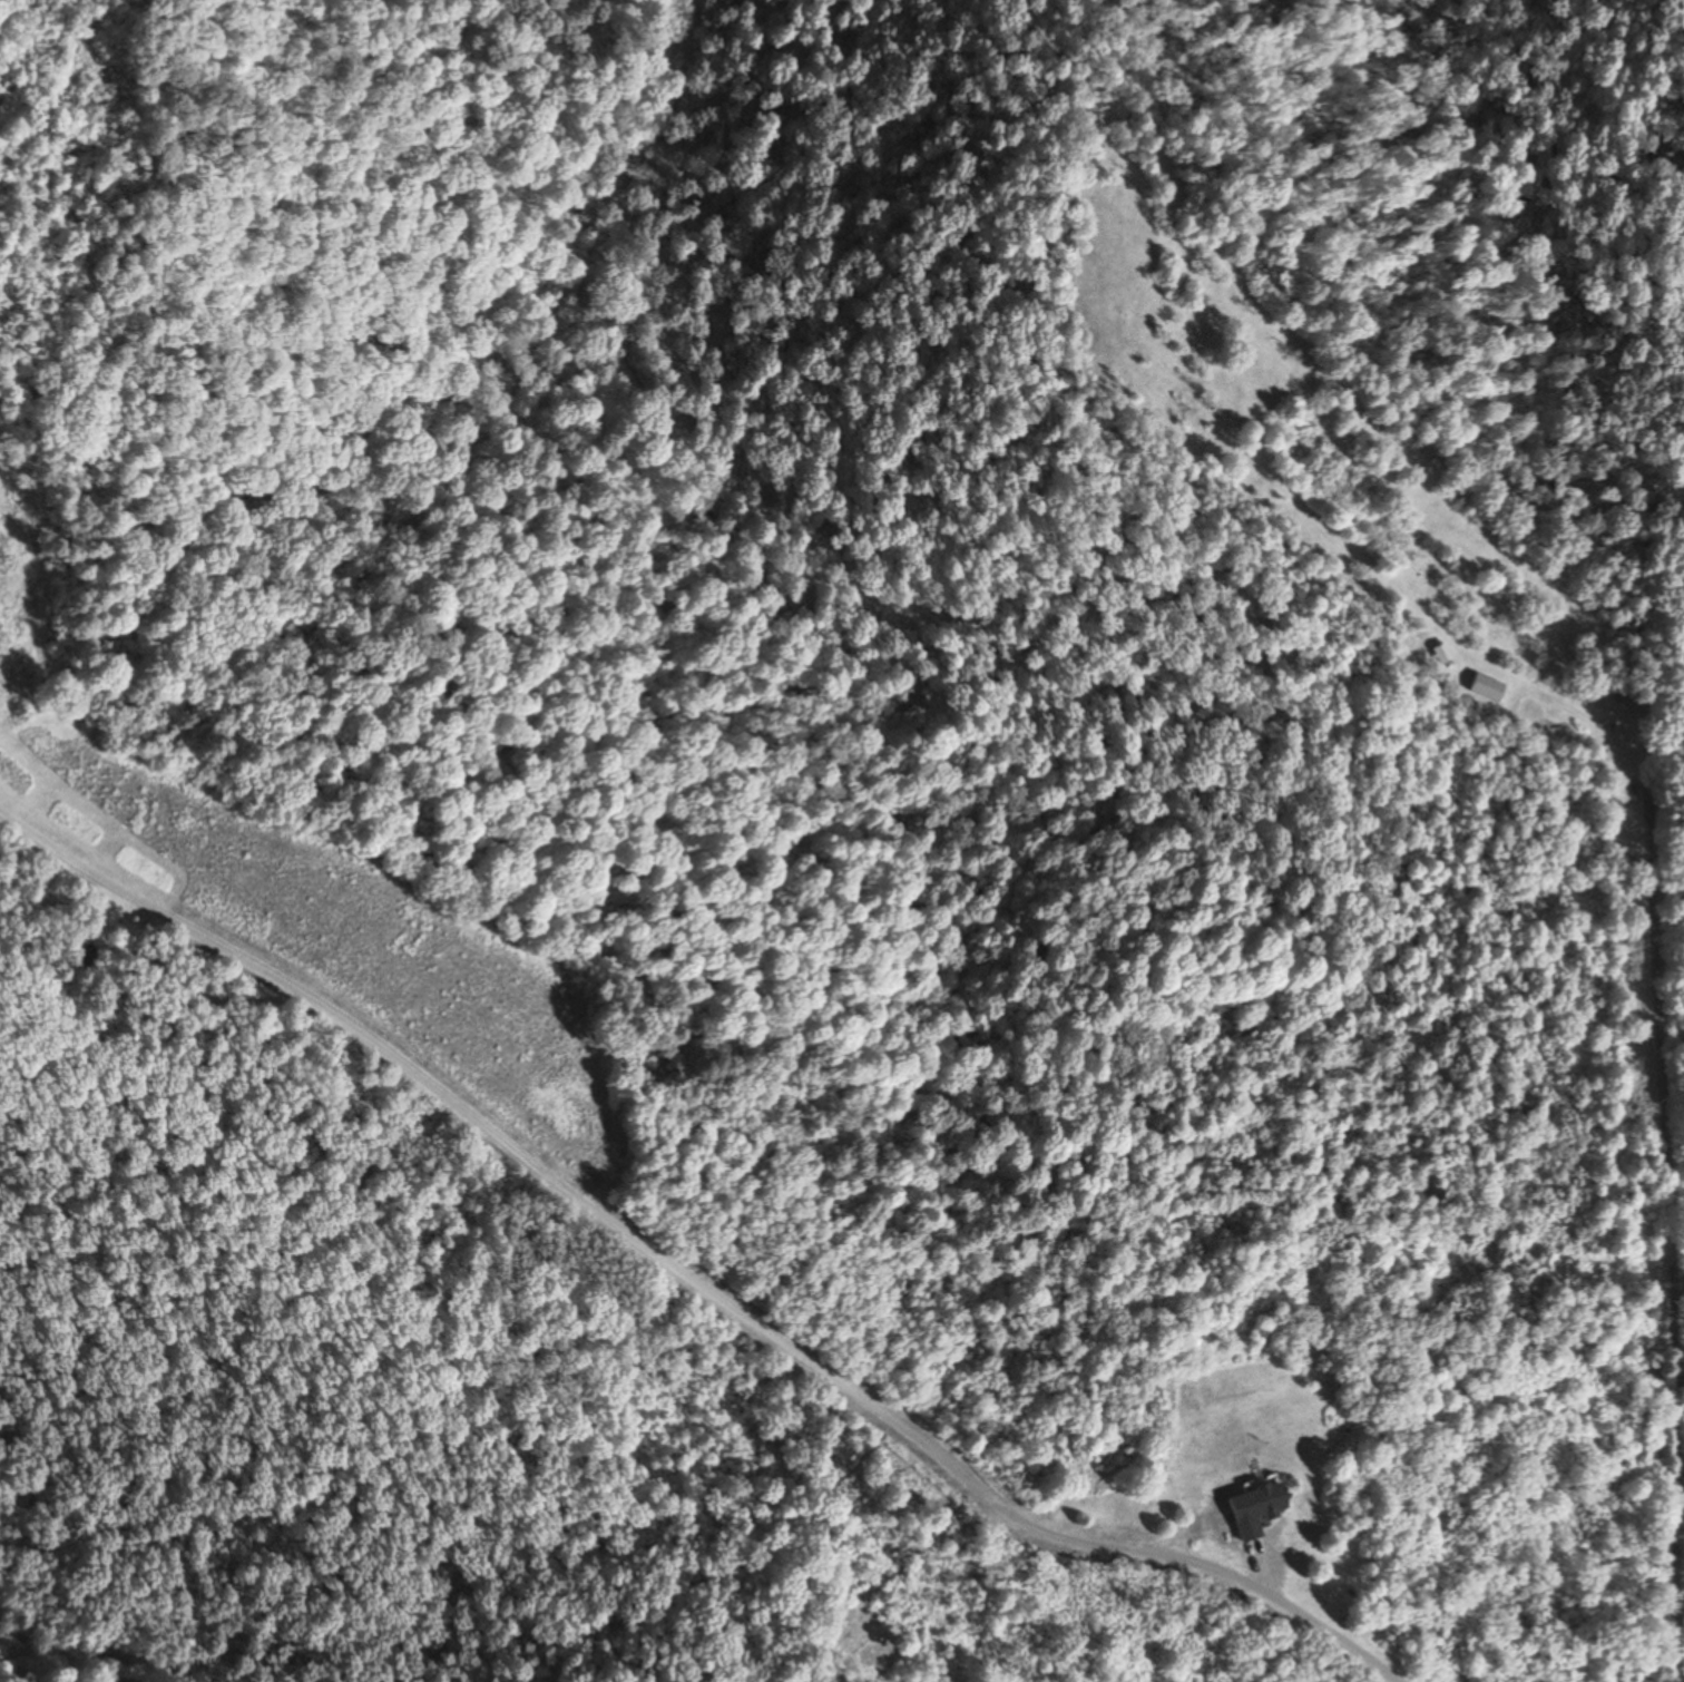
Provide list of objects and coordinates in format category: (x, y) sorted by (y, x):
building: (88, 959)
road: (790, 1185)
building: (1265, 1496)

